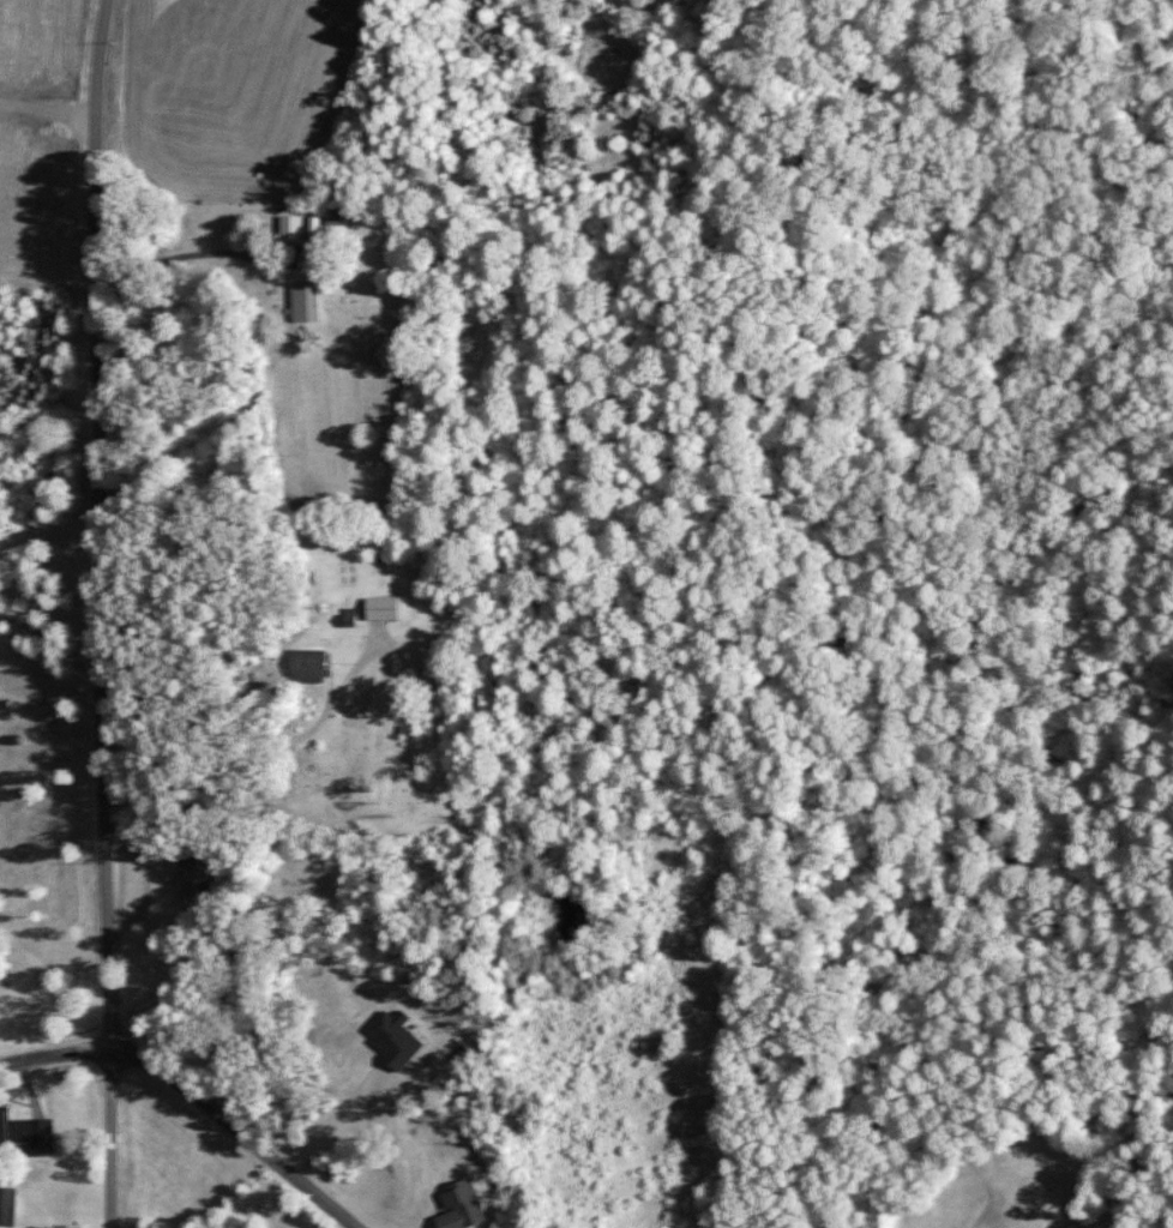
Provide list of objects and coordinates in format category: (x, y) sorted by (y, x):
building: (287, 228)
building: (302, 301)
road: (101, 524)
building: (379, 607)
building: (301, 662)
building: (197, 878)
road: (54, 1053)
road: (235, 1131)
building: (25, 1134)
road: (110, 1138)

